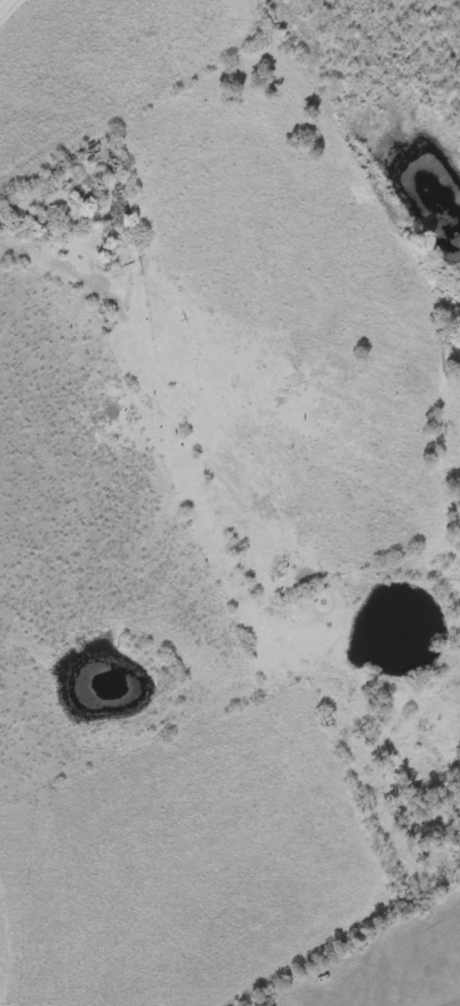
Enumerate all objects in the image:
road: (7, 7)

